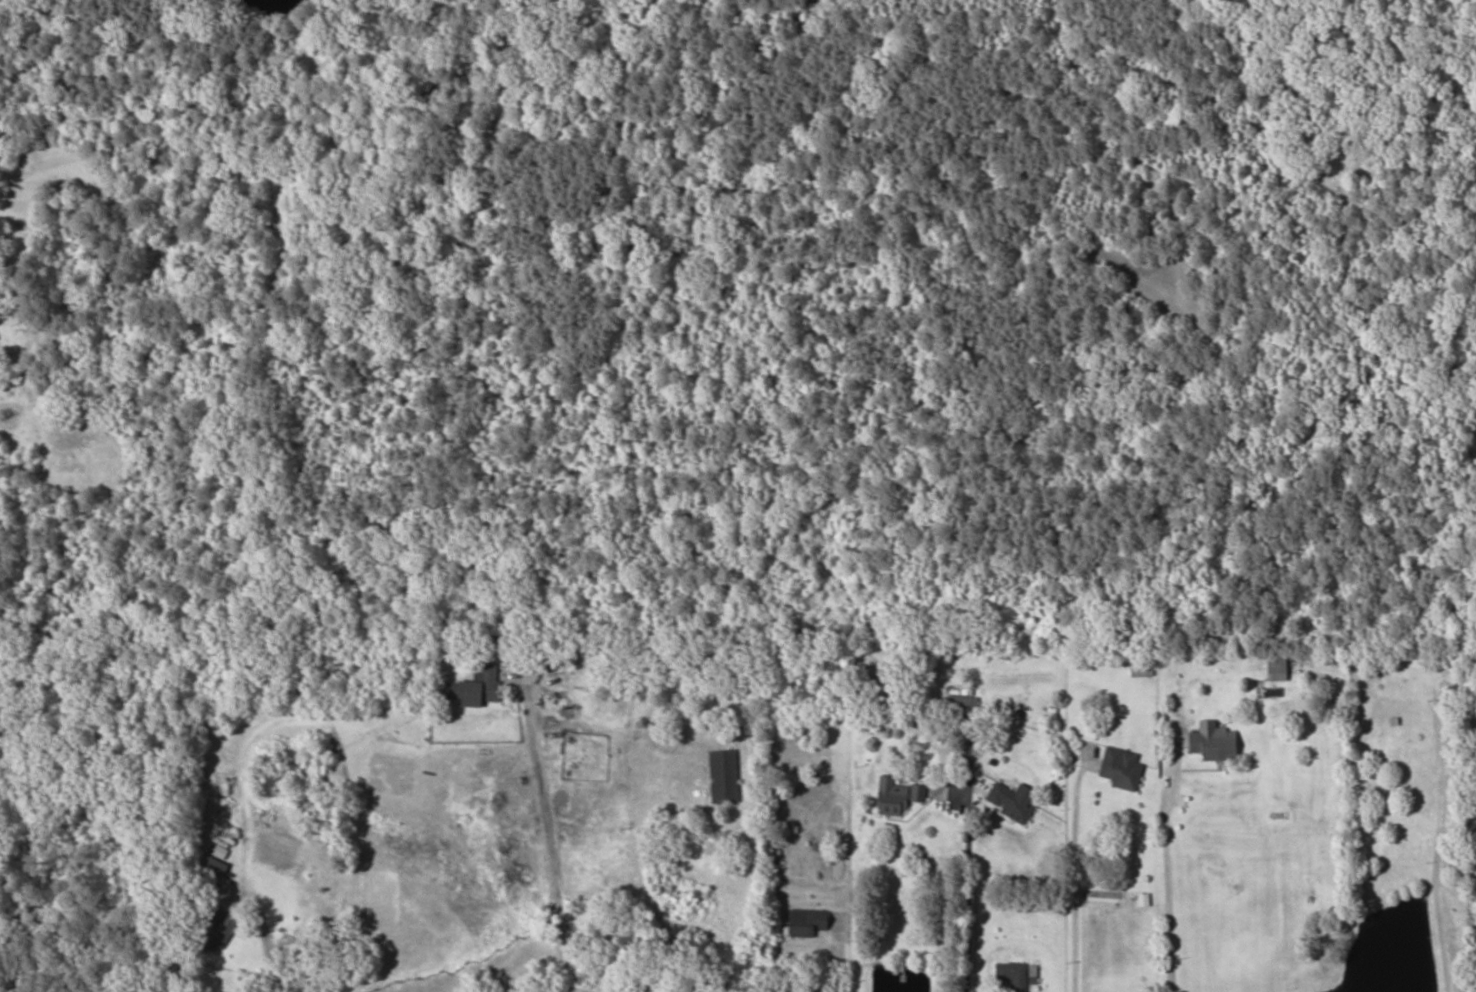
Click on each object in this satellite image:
building: (1273, 668)
building: (1142, 669)
building: (481, 688)
building: (963, 700)
building: (1392, 713)
building: (890, 715)
building: (1210, 741)
building: (672, 756)
building: (1123, 769)
building: (724, 776)
building: (898, 796)
building: (1014, 800)
building: (208, 880)
building: (809, 922)
building: (222, 927)
building: (1014, 975)

